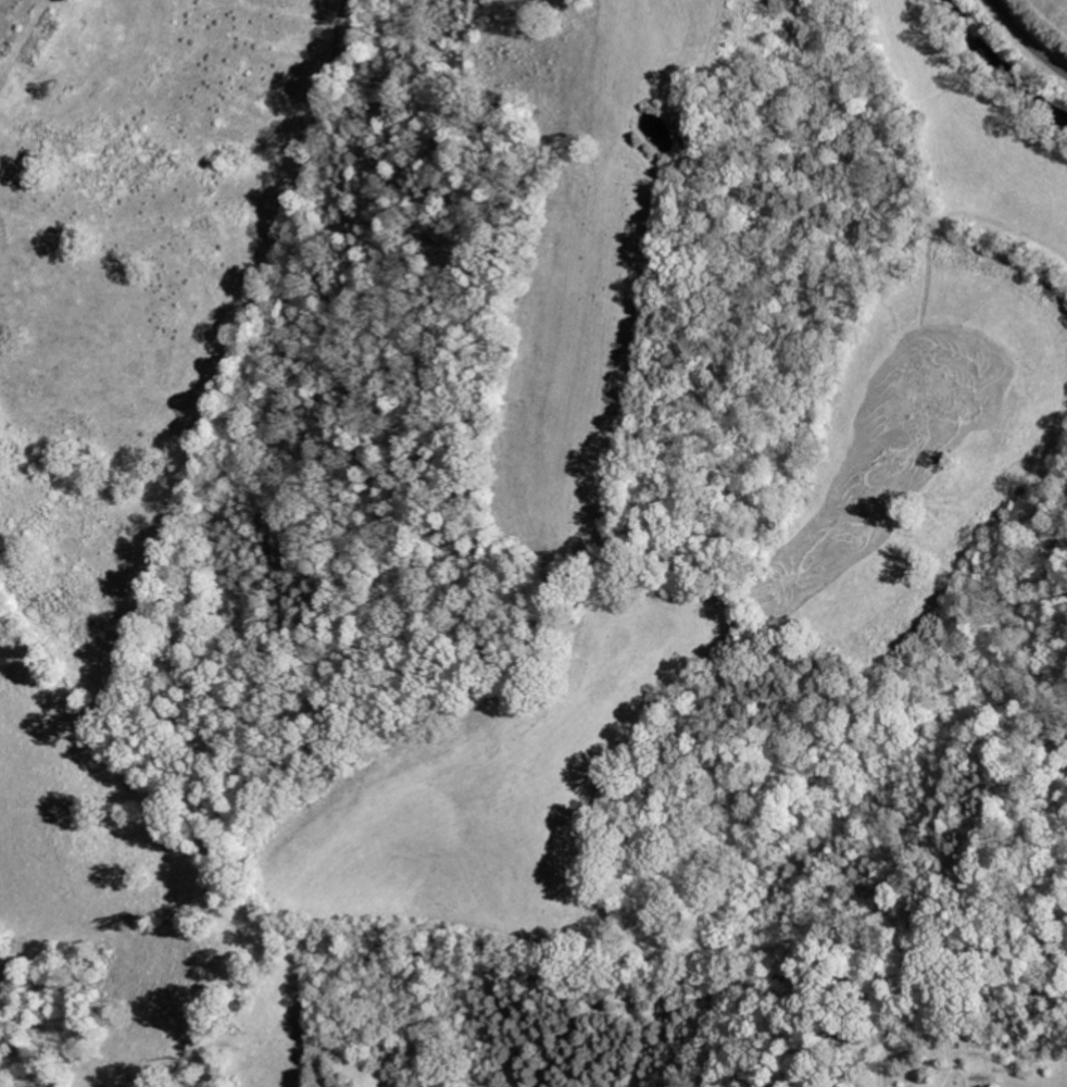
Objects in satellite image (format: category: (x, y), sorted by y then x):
road: (1026, 40)

